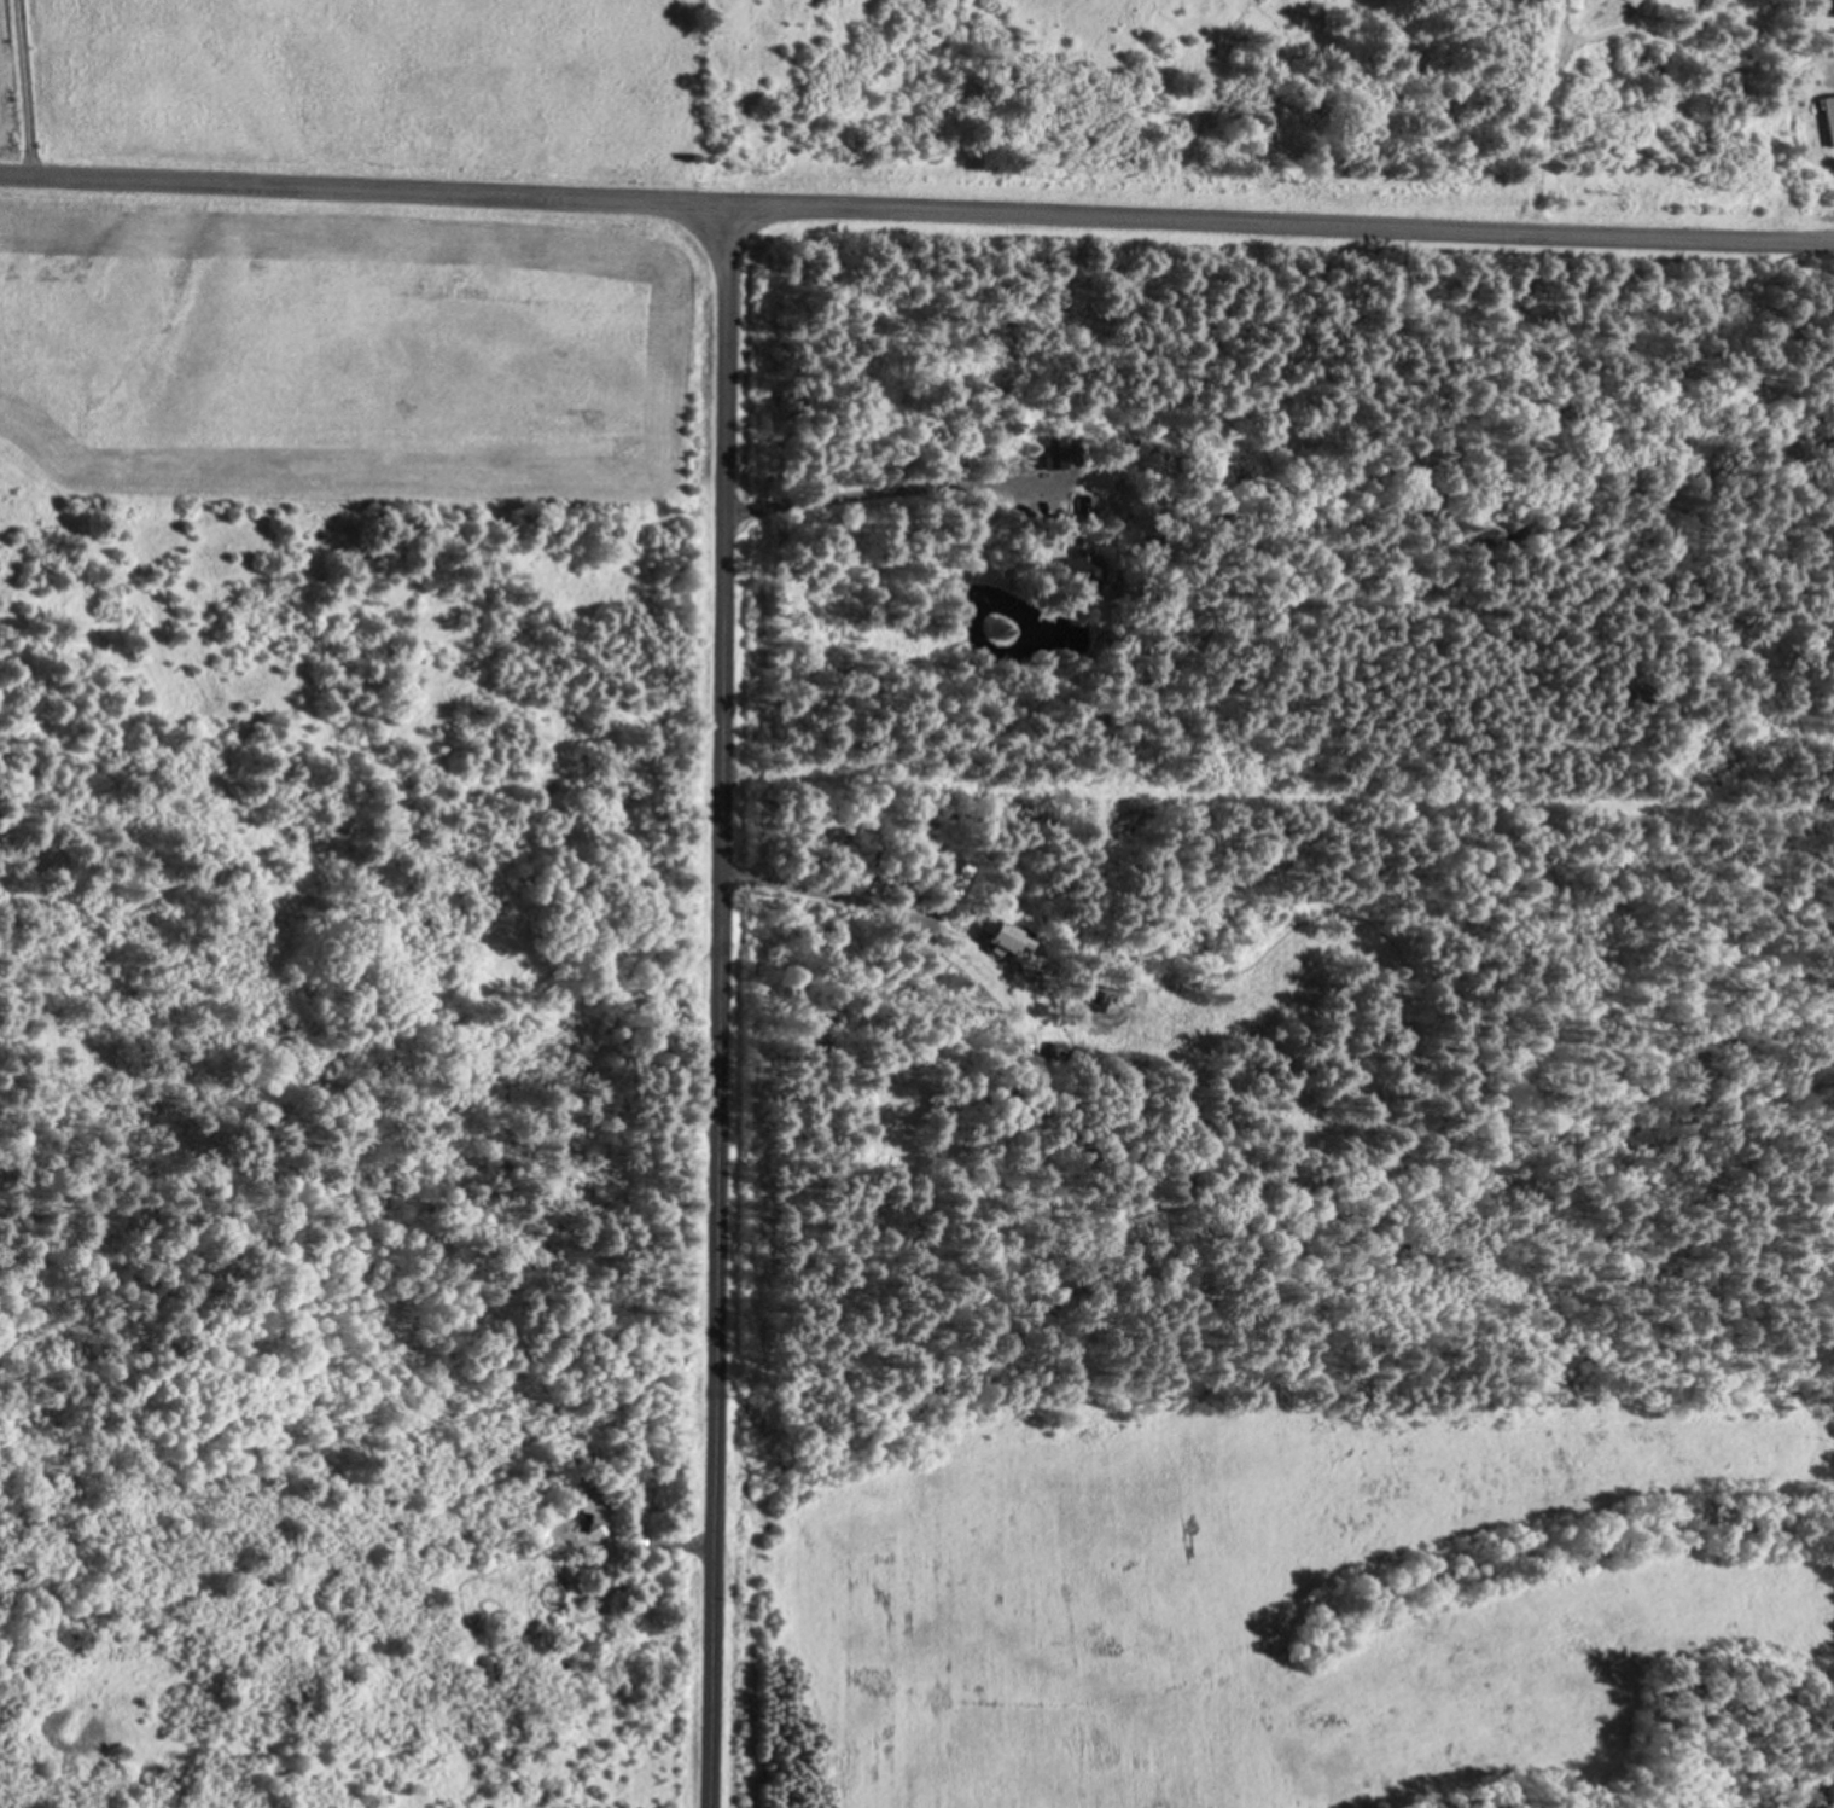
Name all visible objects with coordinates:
building: (1833, 4)
road: (22, 88)
building: (1829, 116)
road: (916, 213)
crop: (349, 355)
building: (1058, 450)
road: (887, 489)
building: (1085, 502)
building: (1081, 566)
road: (1277, 787)
building: (948, 876)
building: (903, 893)
road: (828, 899)
building: (997, 934)
building: (1100, 998)
road: (718, 1008)
building: (598, 1513)
road: (657, 1547)
crop: (1242, 1587)

